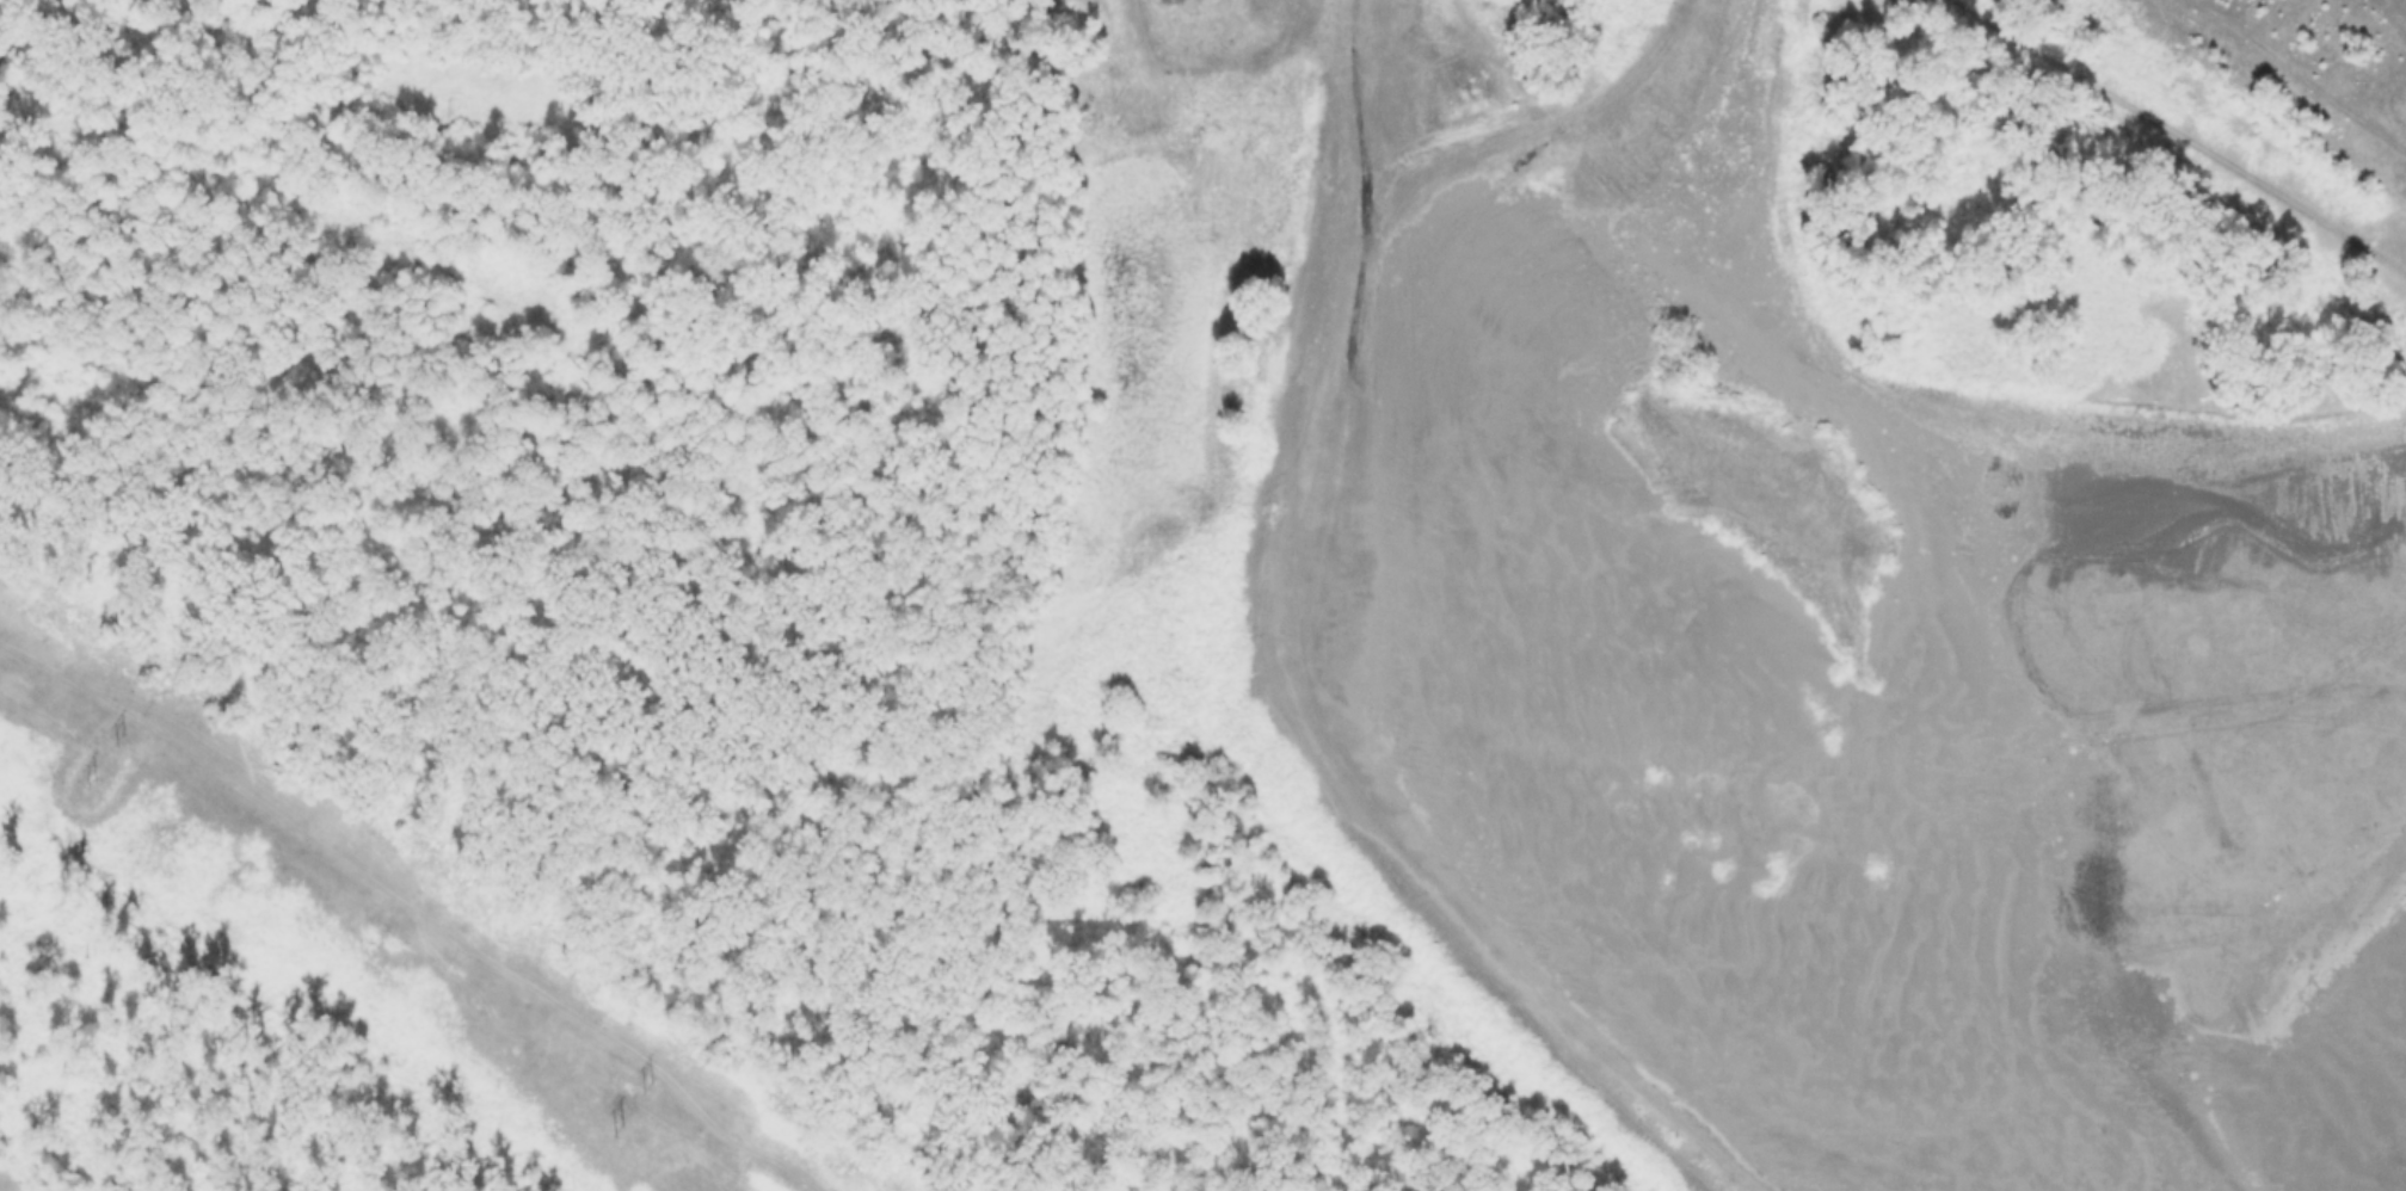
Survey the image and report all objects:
road: (2182, 135)
road: (416, 913)

